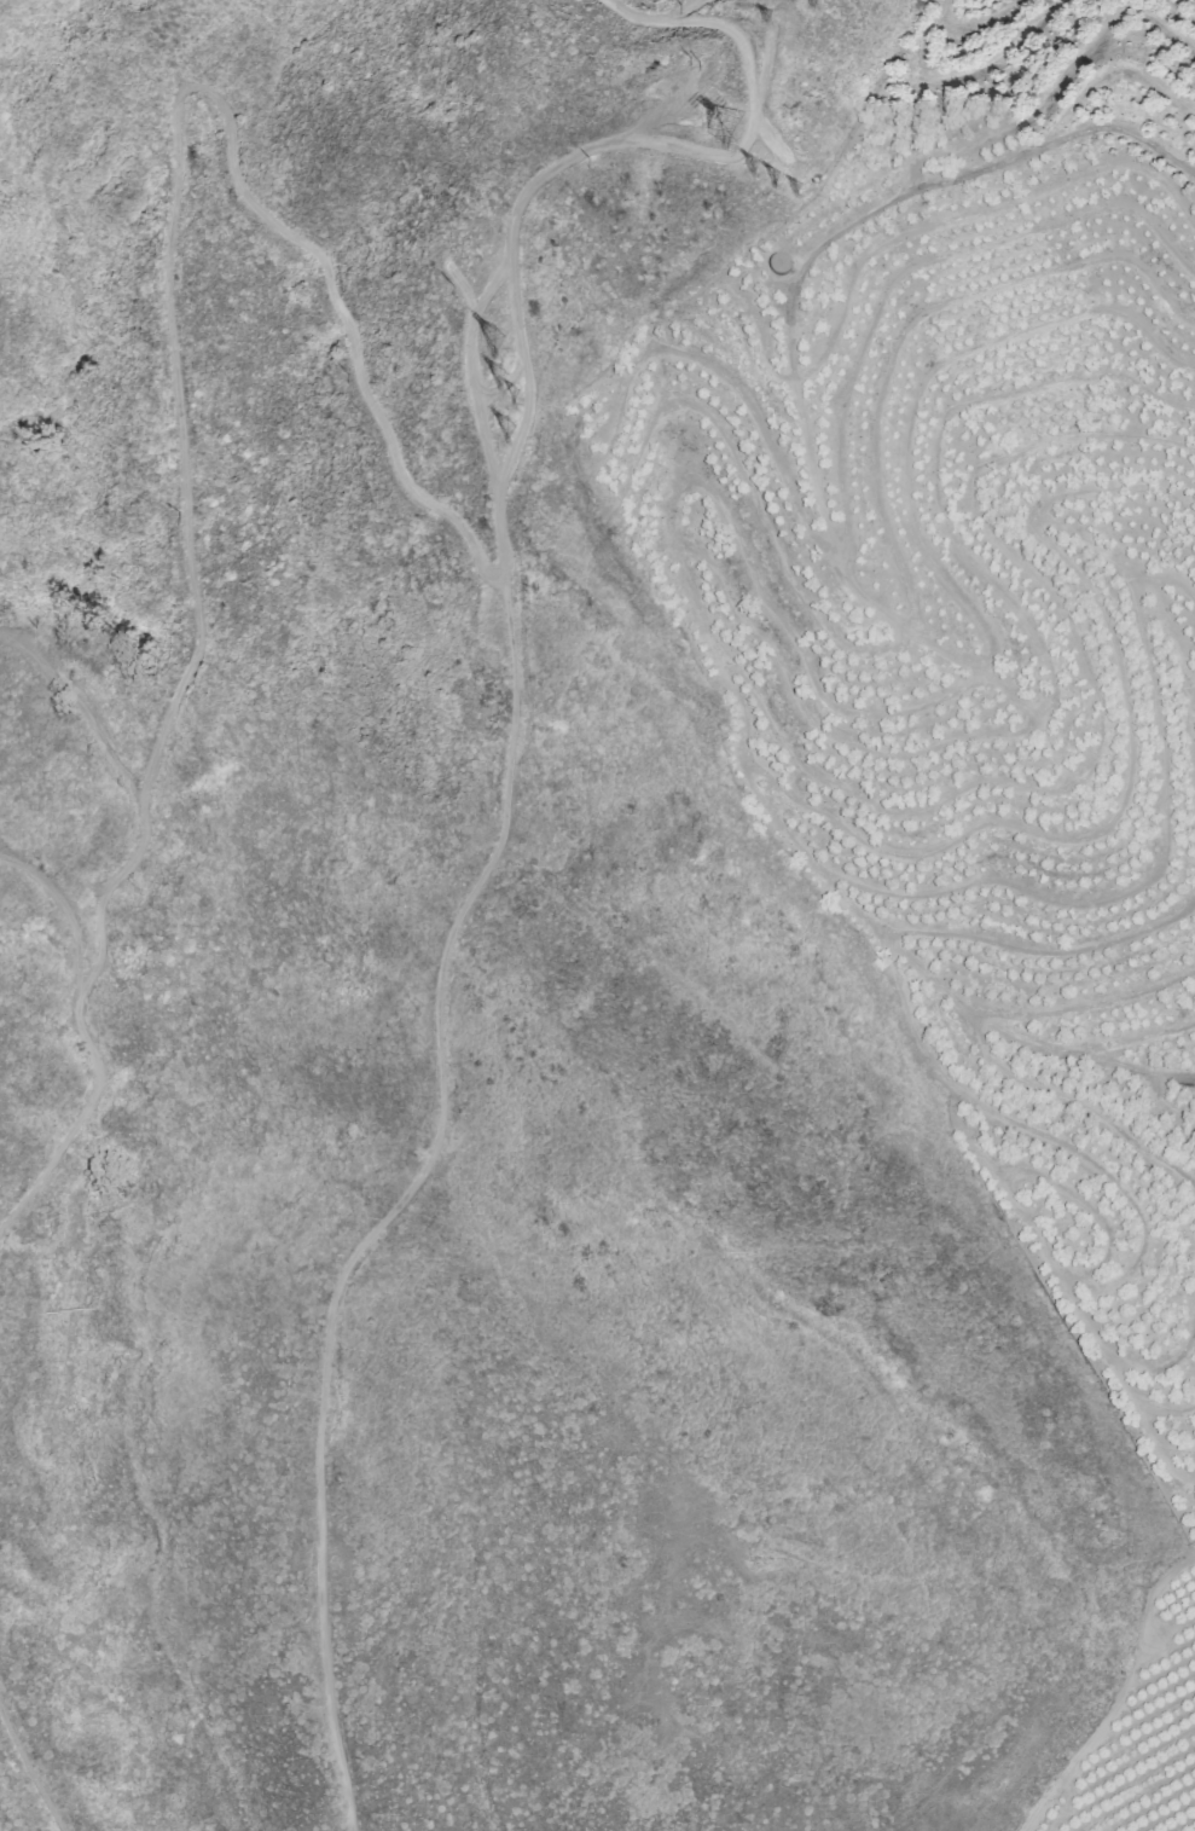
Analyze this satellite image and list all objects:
power tower: (808, 1)
power tower: (764, 12)
power tower: (723, 123)
power tower: (752, 162)
power tower: (775, 176)
power tower: (790, 186)
power tower: (491, 332)
power tower: (503, 370)
power tower: (510, 390)
power tower: (504, 427)

